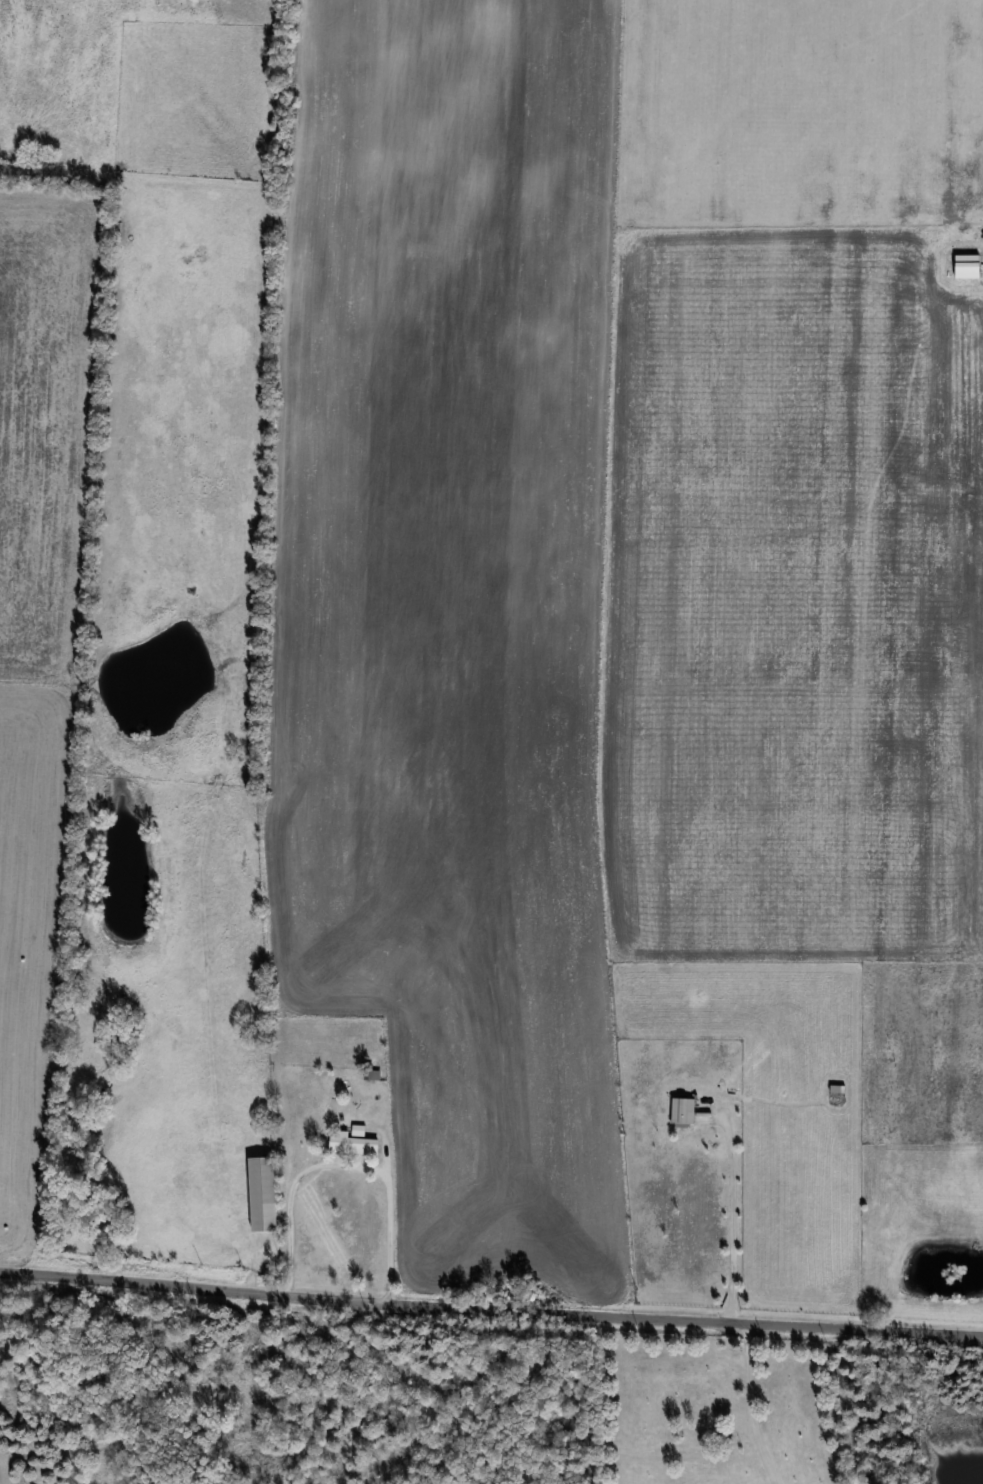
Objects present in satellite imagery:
building: (962, 260)
road: (935, 261)
building: (676, 1106)
building: (349, 1139)
road: (345, 1165)
building: (259, 1189)
road: (728, 1201)
road: (491, 1305)
road: (746, 1403)

